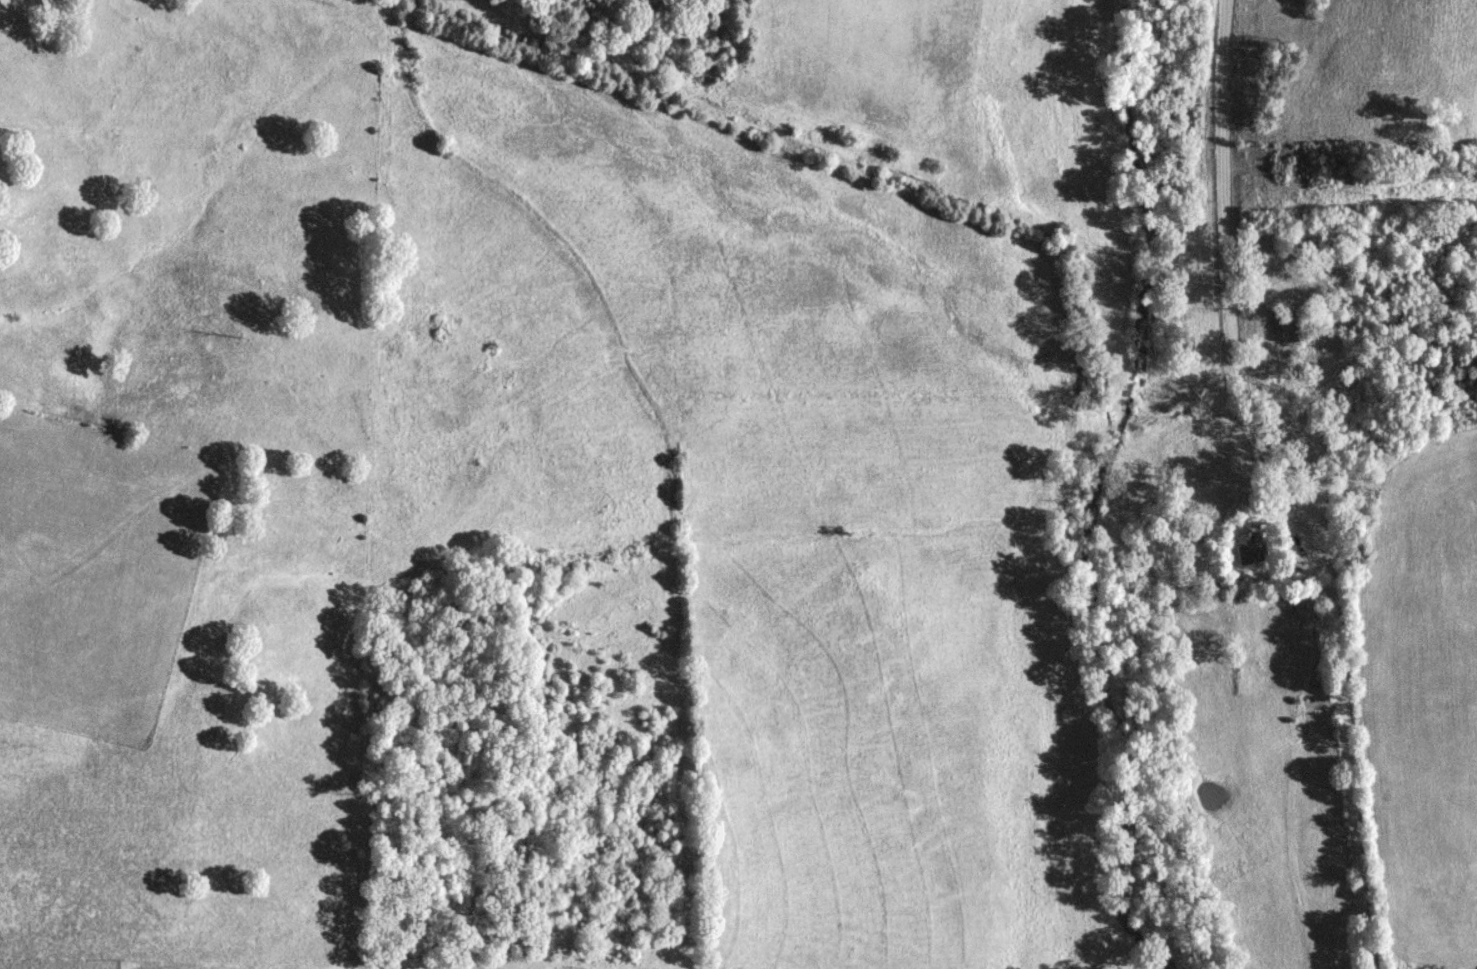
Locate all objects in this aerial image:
road: (1295, 532)

